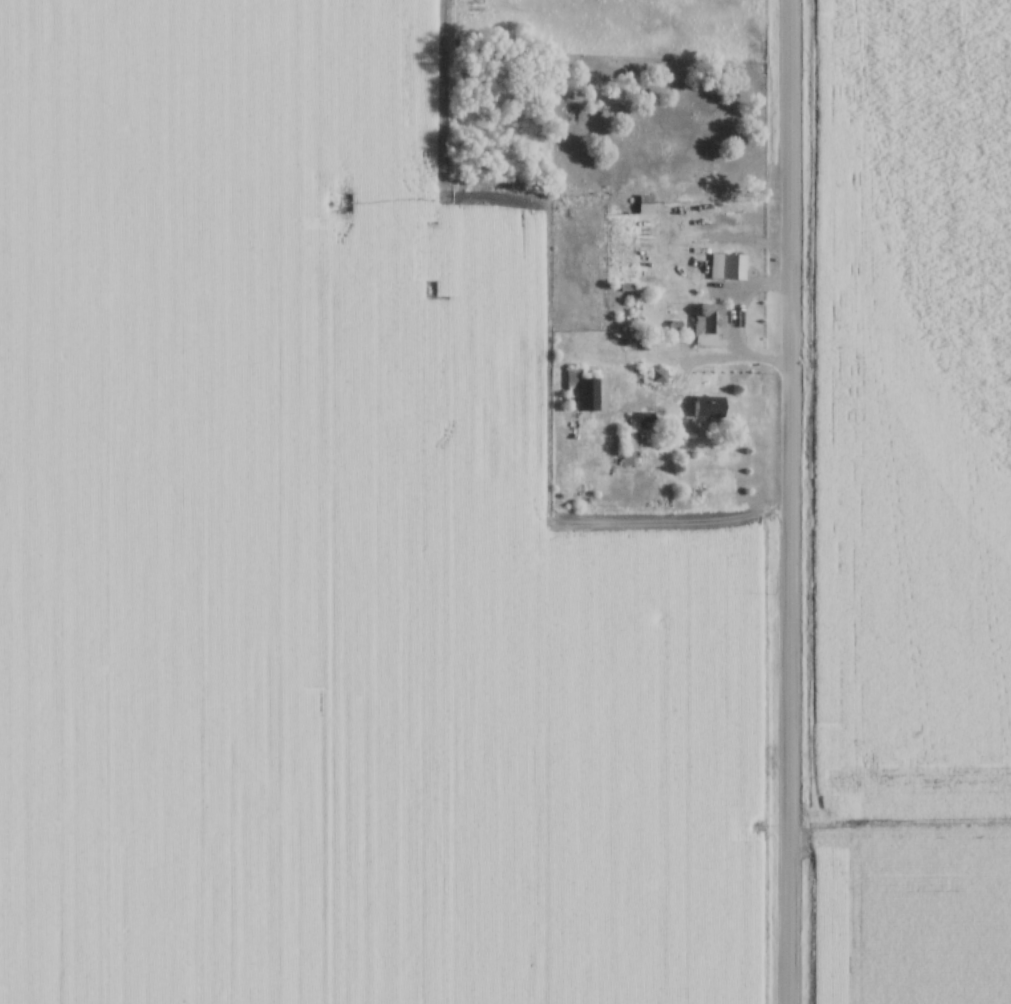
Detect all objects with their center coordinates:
building: (643, 199)
building: (732, 266)
building: (680, 272)
road: (735, 300)
building: (707, 322)
building: (599, 337)
road: (693, 355)
building: (657, 375)
building: (642, 376)
building: (579, 392)
building: (707, 403)
building: (628, 439)
building: (625, 458)
road: (790, 501)
crop: (910, 503)
crop: (328, 559)

